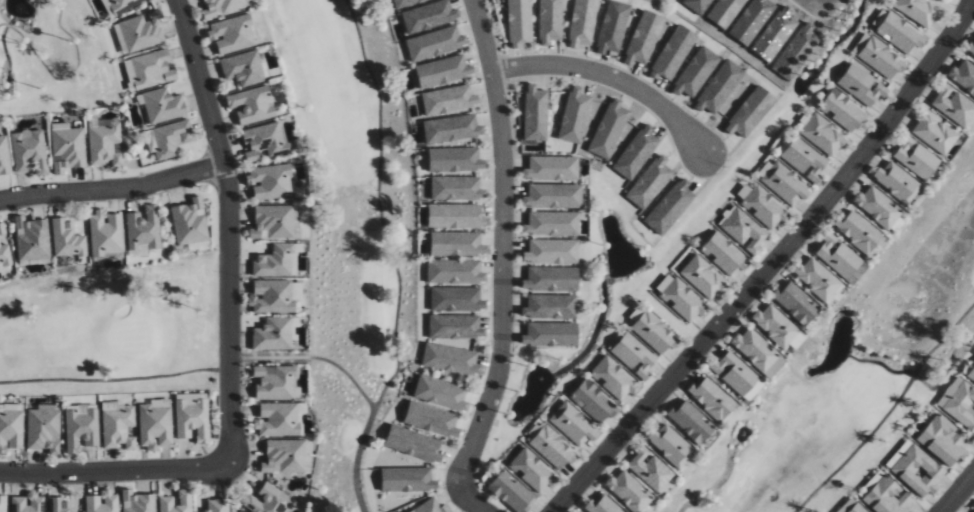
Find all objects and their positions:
building: (122, 5)
building: (221, 7)
building: (919, 10)
fountain: (22, 11)
fountain: (680, 12)
building: (550, 21)
building: (519, 23)
building: (583, 23)
building: (141, 31)
building: (898, 31)
building: (233, 34)
building: (435, 43)
building: (970, 48)
building: (882, 57)
building: (243, 68)
building: (150, 69)
building: (443, 70)
fountain: (809, 75)
building: (963, 75)
road: (610, 77)
road: (66, 78)
building: (862, 84)
fountain: (6, 91)
building: (449, 99)
building: (954, 104)
building: (251, 105)
building: (843, 109)
building: (536, 112)
building: (575, 115)
building: (452, 129)
building: (935, 132)
building: (824, 134)
building: (167, 139)
building: (265, 140)
building: (106, 142)
building: (67, 147)
building: (30, 151)
building: (4, 156)
building: (917, 157)
building: (805, 158)
building: (455, 159)
building: (552, 168)
building: (270, 181)
building: (898, 182)
building: (785, 183)
building: (457, 188)
road: (113, 189)
building: (554, 195)
building: (764, 206)
building: (879, 206)
building: (456, 215)
building: (273, 222)
building: (190, 223)
building: (552, 223)
building: (144, 227)
building: (2, 228)
building: (743, 229)
road: (228, 230)
building: (859, 231)
building: (106, 234)
building: (32, 239)
building: (67, 239)
building: (457, 243)
building: (552, 251)
building: (725, 253)
road: (395, 255)
building: (839, 255)
building: (5, 256)
park: (363, 256)
building: (279, 260)
road: (502, 263)
road: (772, 263)
building: (454, 272)
building: (704, 277)
building: (818, 278)
building: (551, 279)
building: (276, 295)
building: (681, 297)
building: (456, 299)
building: (797, 303)
building: (551, 306)
building: (776, 325)
building: (454, 327)
building: (655, 332)
building: (274, 334)
building: (550, 335)
building: (798, 340)
building: (759, 351)
building: (634, 355)
building: (451, 358)
road: (199, 370)
park: (853, 370)
building: (971, 374)
building: (739, 375)
building: (615, 378)
fountain: (541, 380)
building: (275, 381)
building: (441, 392)
building: (713, 398)
building: (594, 401)
building: (959, 402)
road: (890, 413)
building: (193, 416)
building: (278, 419)
building: (431, 419)
building: (692, 421)
building: (156, 423)
building: (574, 424)
building: (118, 425)
building: (11, 426)
building: (81, 427)
building: (44, 428)
fountain: (742, 434)
building: (943, 439)
building: (413, 443)
building: (671, 444)
building: (552, 446)
building: (286, 456)
road: (114, 470)
building: (533, 470)
building: (651, 470)
building: (918, 470)
building: (406, 479)
building: (511, 491)
building: (629, 491)
road: (957, 493)
building: (888, 496)
building: (166, 500)
building: (270, 500)
building: (103, 502)
building: (138, 502)
building: (3, 503)
building: (28, 503)
building: (59, 504)
building: (218, 505)
building: (602, 505)
building: (852, 506)
building: (431, 507)
road: (363, 509)

